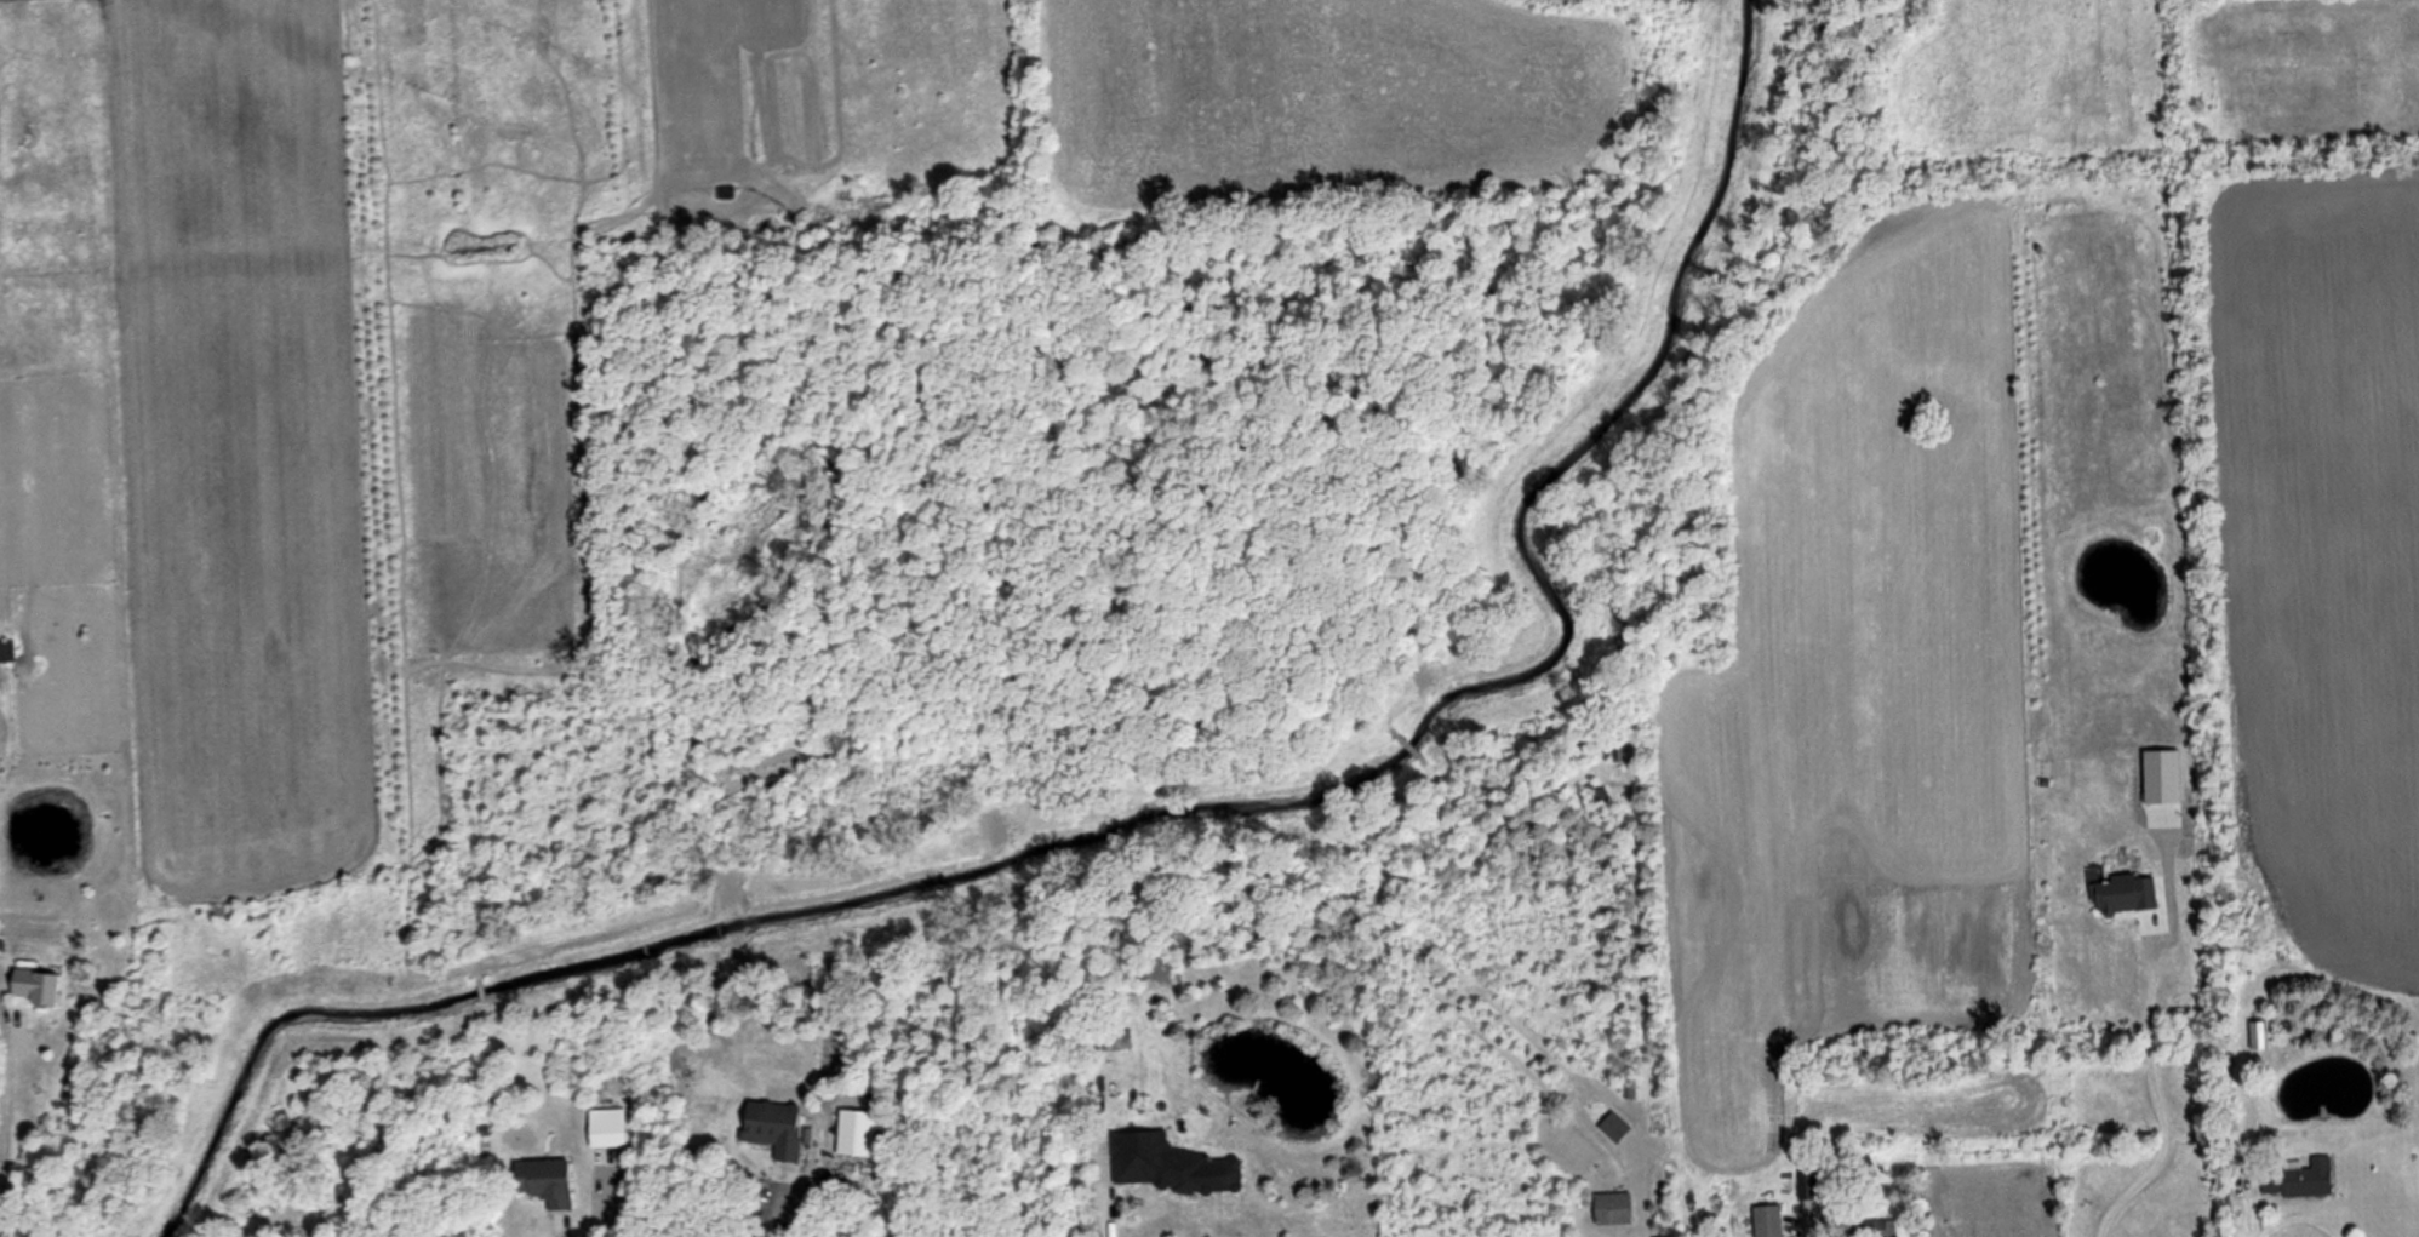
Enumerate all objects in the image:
building: (6, 649)
building: (2125, 893)
building: (38, 986)
building: (2258, 1033)
building: (1120, 1038)
road: (2157, 1100)
road: (7, 1103)
building: (773, 1126)
building: (1613, 1126)
building: (858, 1132)
building: (1167, 1163)
building: (2298, 1179)
building: (544, 1180)
building: (1612, 1207)
road: (1104, 1208)
road: (771, 1220)
building: (1767, 1220)
road: (1643, 1221)
building: (1880, 1227)
road: (561, 1231)
road: (0, 1235)

